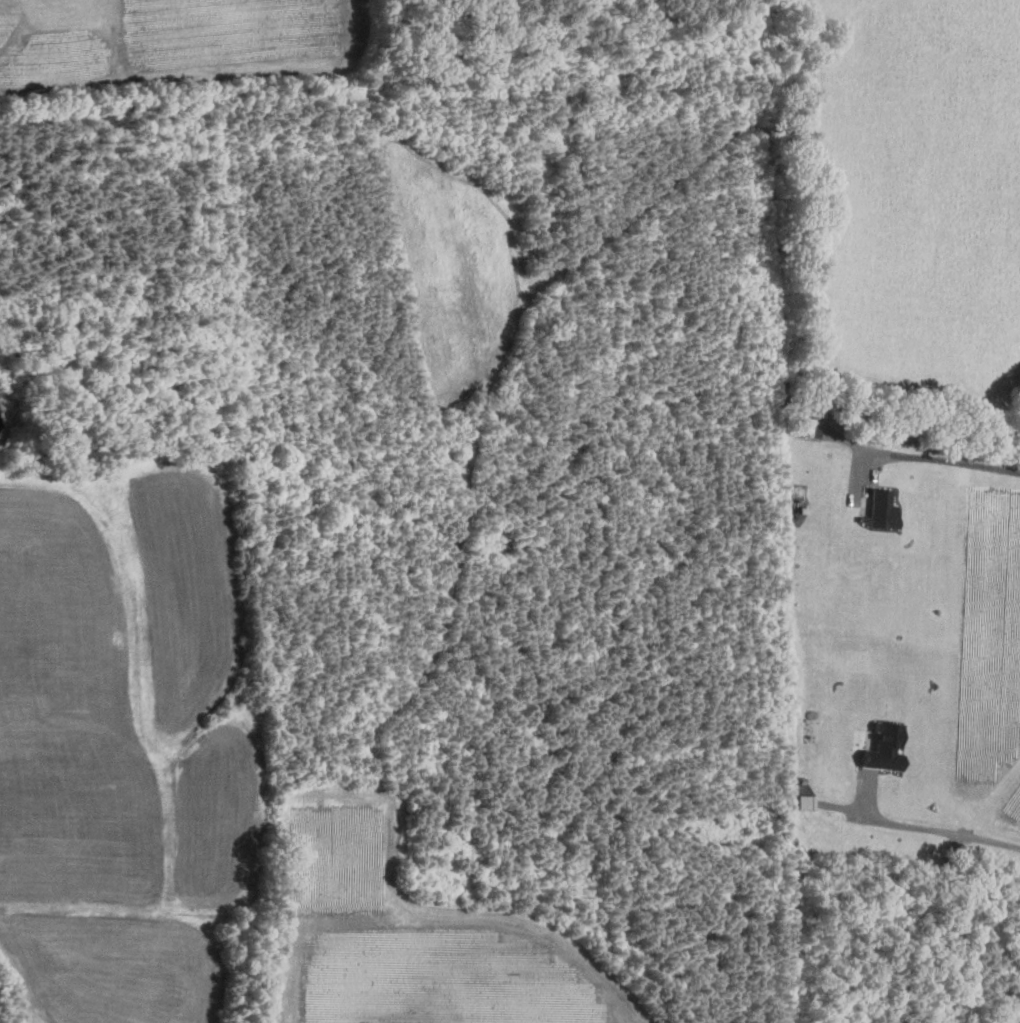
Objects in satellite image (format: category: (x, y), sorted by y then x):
building: (881, 509)
building: (886, 747)
building: (805, 801)
road: (926, 826)
road: (15, 1011)

